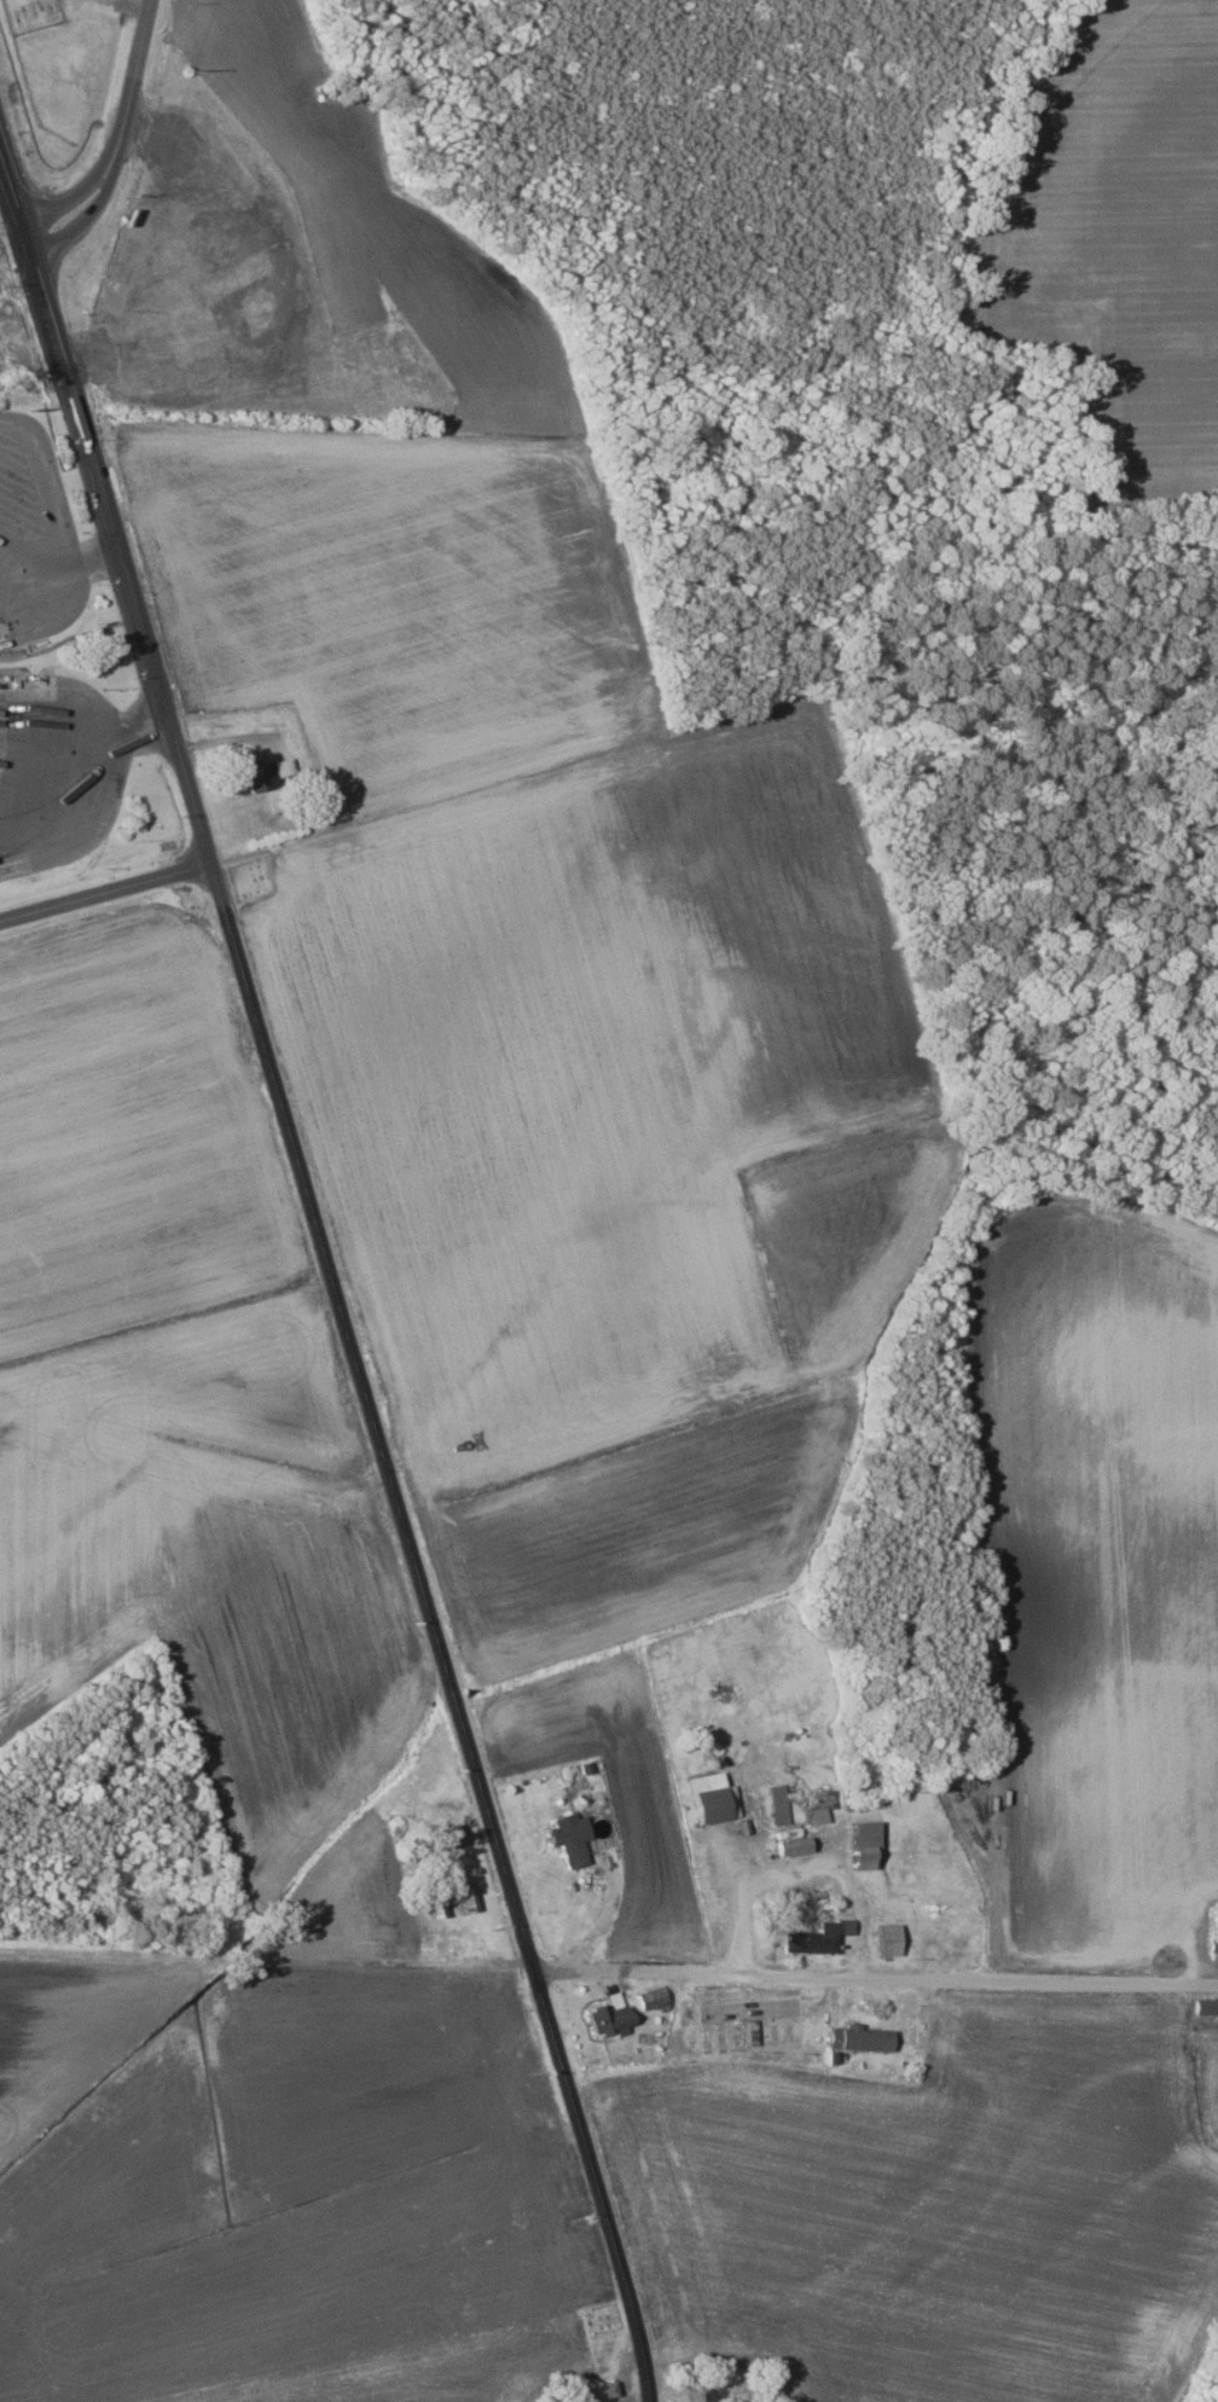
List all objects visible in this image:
road: (128, 144)
road: (16, 199)
road: (64, 557)
road: (166, 666)
road: (59, 756)
building: (266, 772)
road: (110, 892)
road: (476, 1742)
building: (710, 1798)
building: (568, 1838)
building: (860, 1843)
road: (804, 1870)
building: (451, 1898)
building: (816, 1937)
building: (1211, 1938)
building: (886, 1939)
road: (880, 1973)
building: (651, 1998)
building: (1205, 2007)
building: (609, 2017)
building: (857, 2038)

